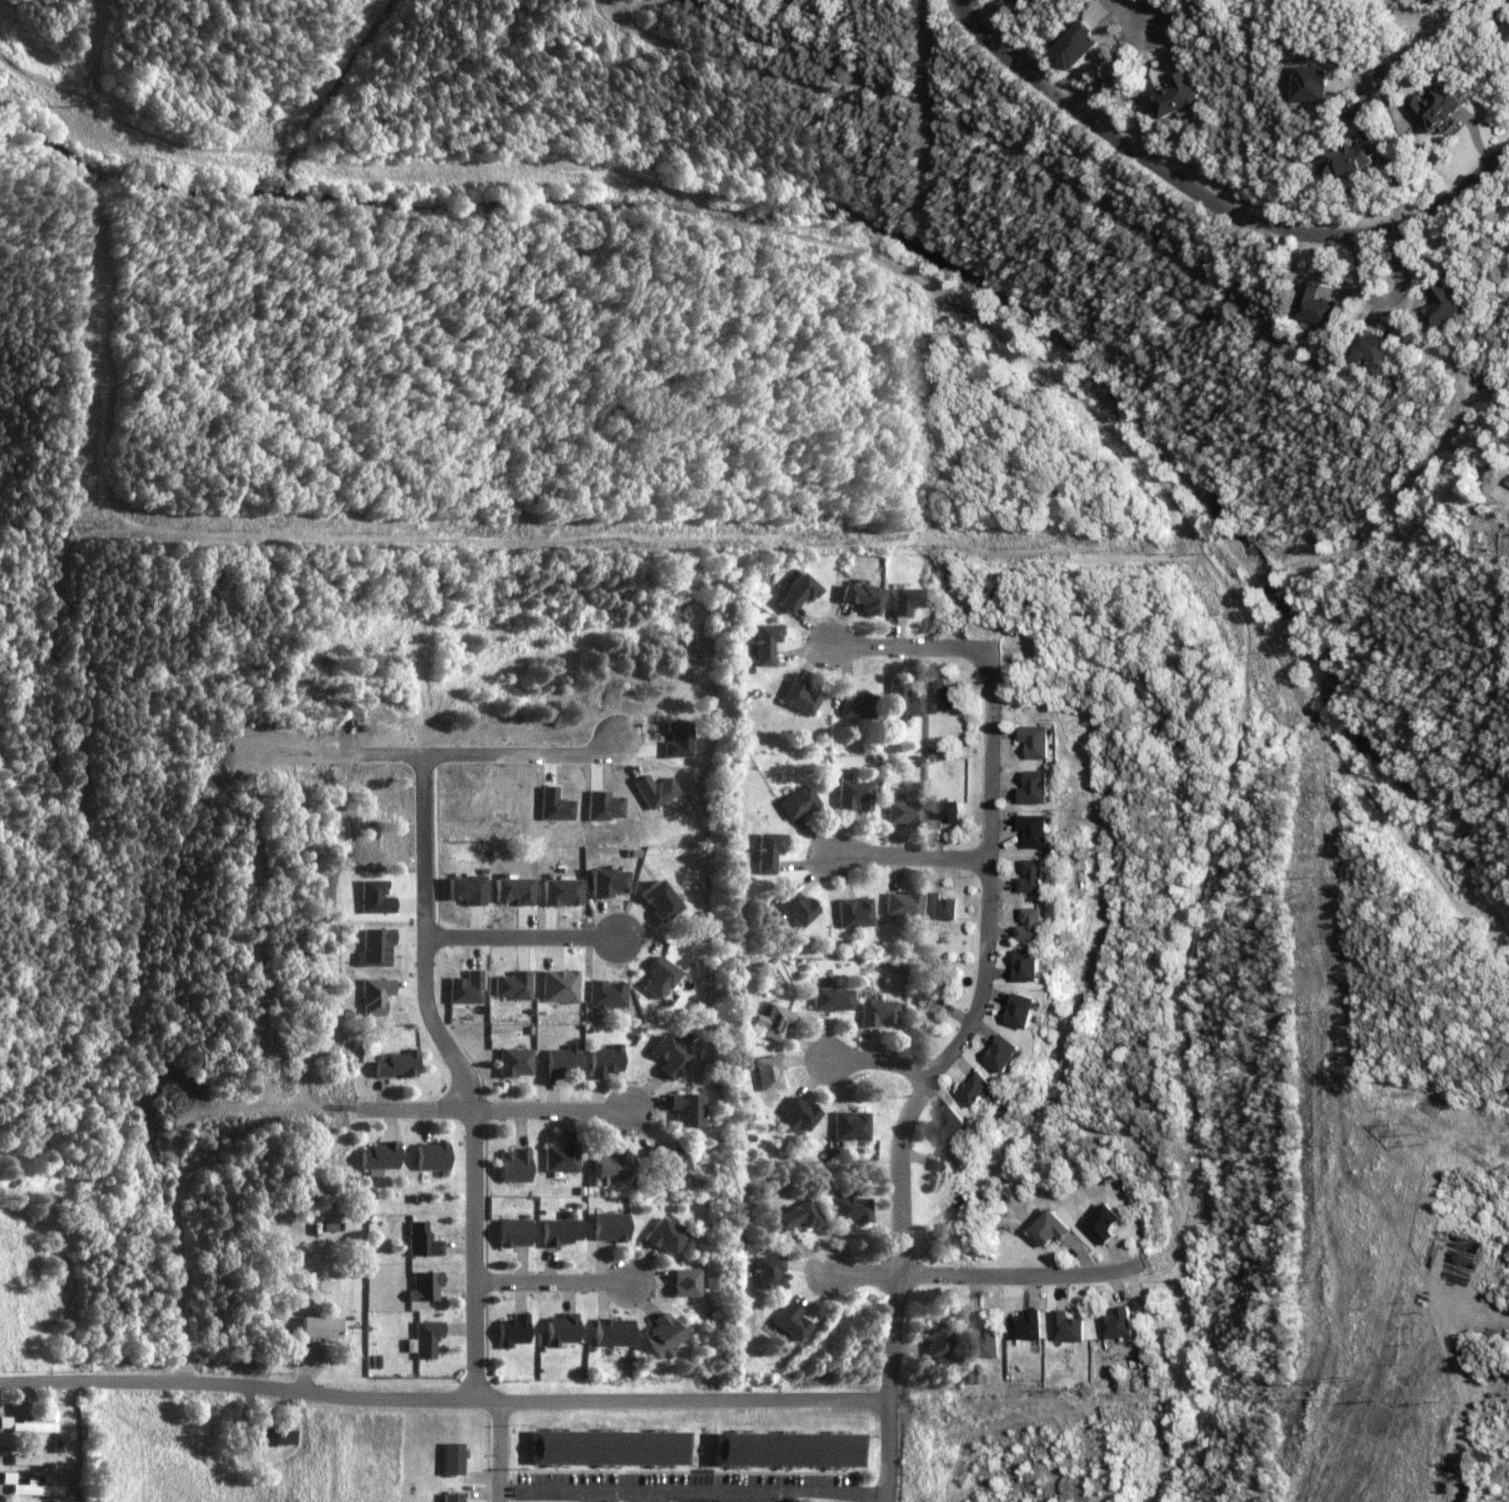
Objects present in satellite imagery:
road: (1135, 14)
building: (1508, 30)
road: (1435, 37)
building: (1182, 95)
building: (1442, 106)
building: (1356, 158)
road: (1214, 201)
road: (1390, 299)
building: (1322, 304)
building: (1449, 307)
building: (1378, 346)
building: (799, 592)
building: (863, 596)
building: (906, 599)
building: (769, 642)
road: (921, 645)
building: (945, 694)
building: (802, 696)
building: (903, 699)
building: (859, 705)
building: (1044, 740)
building: (1045, 787)
building: (854, 794)
building: (799, 802)
building: (905, 812)
building: (947, 812)
building: (1044, 830)
building: (770, 850)
road: (917, 856)
building: (1041, 876)
building: (609, 882)
building: (467, 888)
building: (515, 889)
building: (561, 891)
building: (660, 900)
building: (902, 903)
building: (946, 906)
building: (798, 907)
building: (854, 912)
building: (1042, 924)
road: (516, 937)
building: (377, 946)
road: (1174, 947)
building: (1040, 964)
road: (993, 974)
building: (659, 977)
building: (513, 985)
building: (561, 985)
building: (467, 987)
building: (607, 994)
building: (376, 995)
building: (831, 998)
building: (927, 1010)
building: (1036, 1010)
building: (875, 1012)
building: (773, 1021)
building: (1016, 1053)
building: (669, 1055)
building: (563, 1060)
building: (605, 1060)
building: (516, 1061)
road: (884, 1061)
building: (398, 1063)
building: (768, 1071)
building: (985, 1088)
building: (685, 1109)
road: (438, 1111)
road: (557, 1112)
building: (797, 1113)
building: (960, 1124)
building: (849, 1125)
building: (434, 1155)
building: (379, 1157)
building: (561, 1157)
building: (665, 1159)
road: (482, 1161)
building: (516, 1165)
building: (612, 1168)
building: (941, 1172)
building: (845, 1208)
building: (794, 1216)
building: (1113, 1223)
building: (610, 1226)
building: (1059, 1228)
building: (562, 1231)
building: (516, 1232)
building: (663, 1236)
building: (423, 1240)
building: (767, 1272)
road: (987, 1276)
building: (308, 1279)
road: (558, 1282)
building: (682, 1282)
building: (426, 1286)
building: (788, 1321)
building: (1126, 1324)
building: (1033, 1325)
building: (322, 1327)
building: (1074, 1327)
building: (563, 1329)
building: (514, 1330)
building: (614, 1332)
building: (662, 1335)
building: (426, 1339)
building: (939, 1341)
building: (986, 1343)
power tower: (1356, 1376)
road: (898, 1389)
road: (448, 1398)
building: (34, 1426)
building: (263, 1435)
building: (609, 1447)
building: (788, 1449)
building: (454, 1458)
building: (35, 1459)
building: (29, 1486)
road: (557, 1489)
road: (738, 1493)
building: (453, 1497)
road: (779, 1498)

